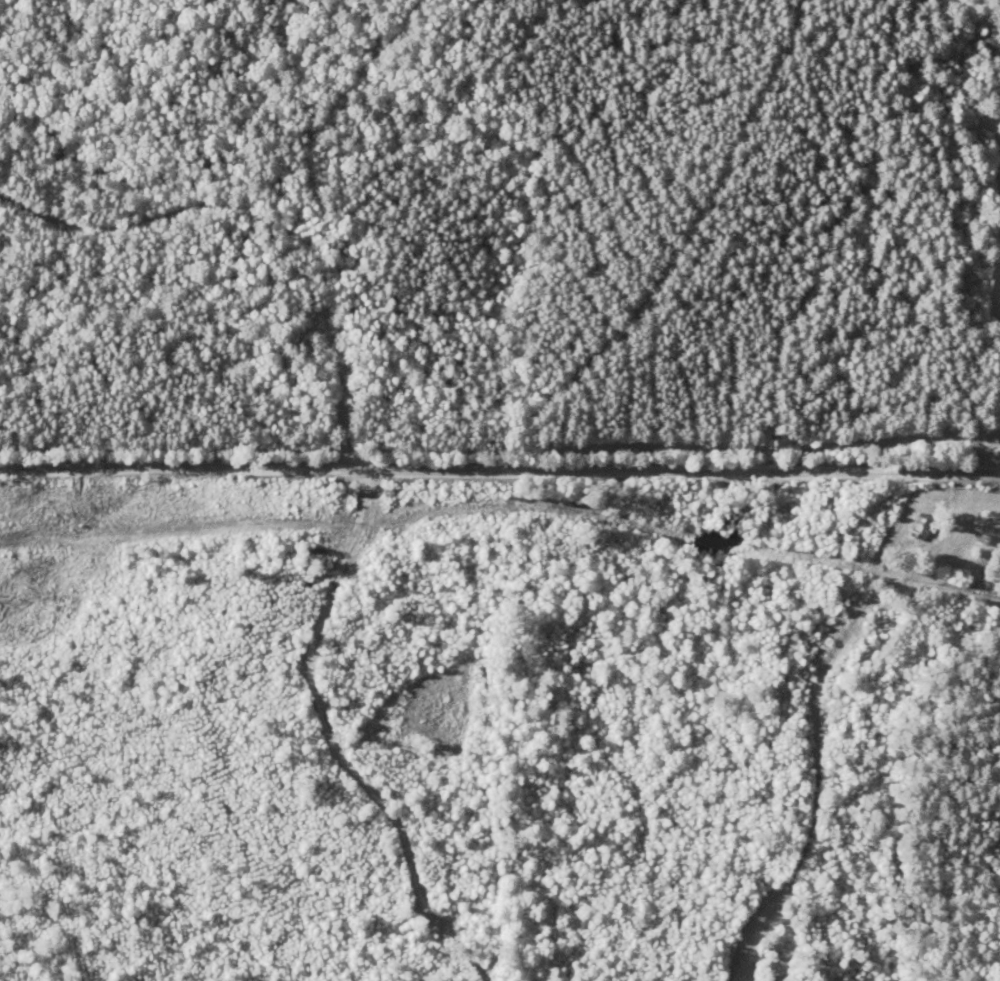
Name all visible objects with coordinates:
building: (985, 46)
building: (992, 114)
road: (499, 479)
building: (910, 525)

